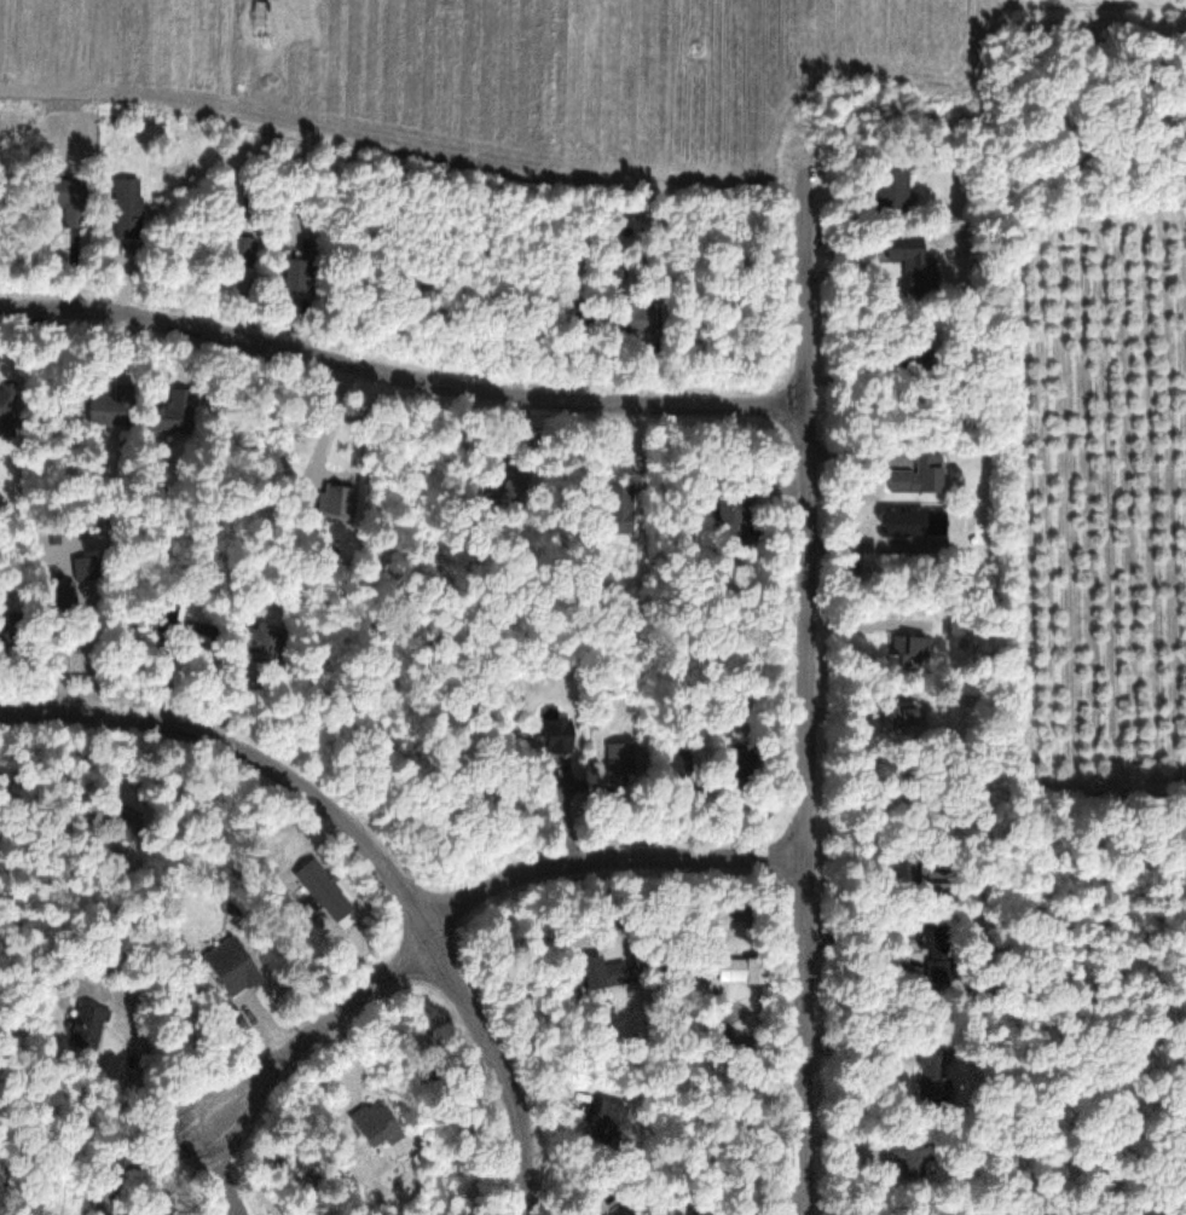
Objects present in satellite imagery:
building: (891, 187)
building: (71, 199)
building: (128, 207)
road: (400, 375)
building: (115, 406)
building: (919, 474)
building: (516, 487)
building: (620, 498)
building: (733, 508)
building: (919, 522)
building: (13, 636)
road: (805, 684)
building: (557, 733)
road: (366, 844)
road: (604, 855)
building: (235, 965)
building: (87, 1026)
road: (313, 1032)
building: (932, 1075)
building: (614, 1112)

